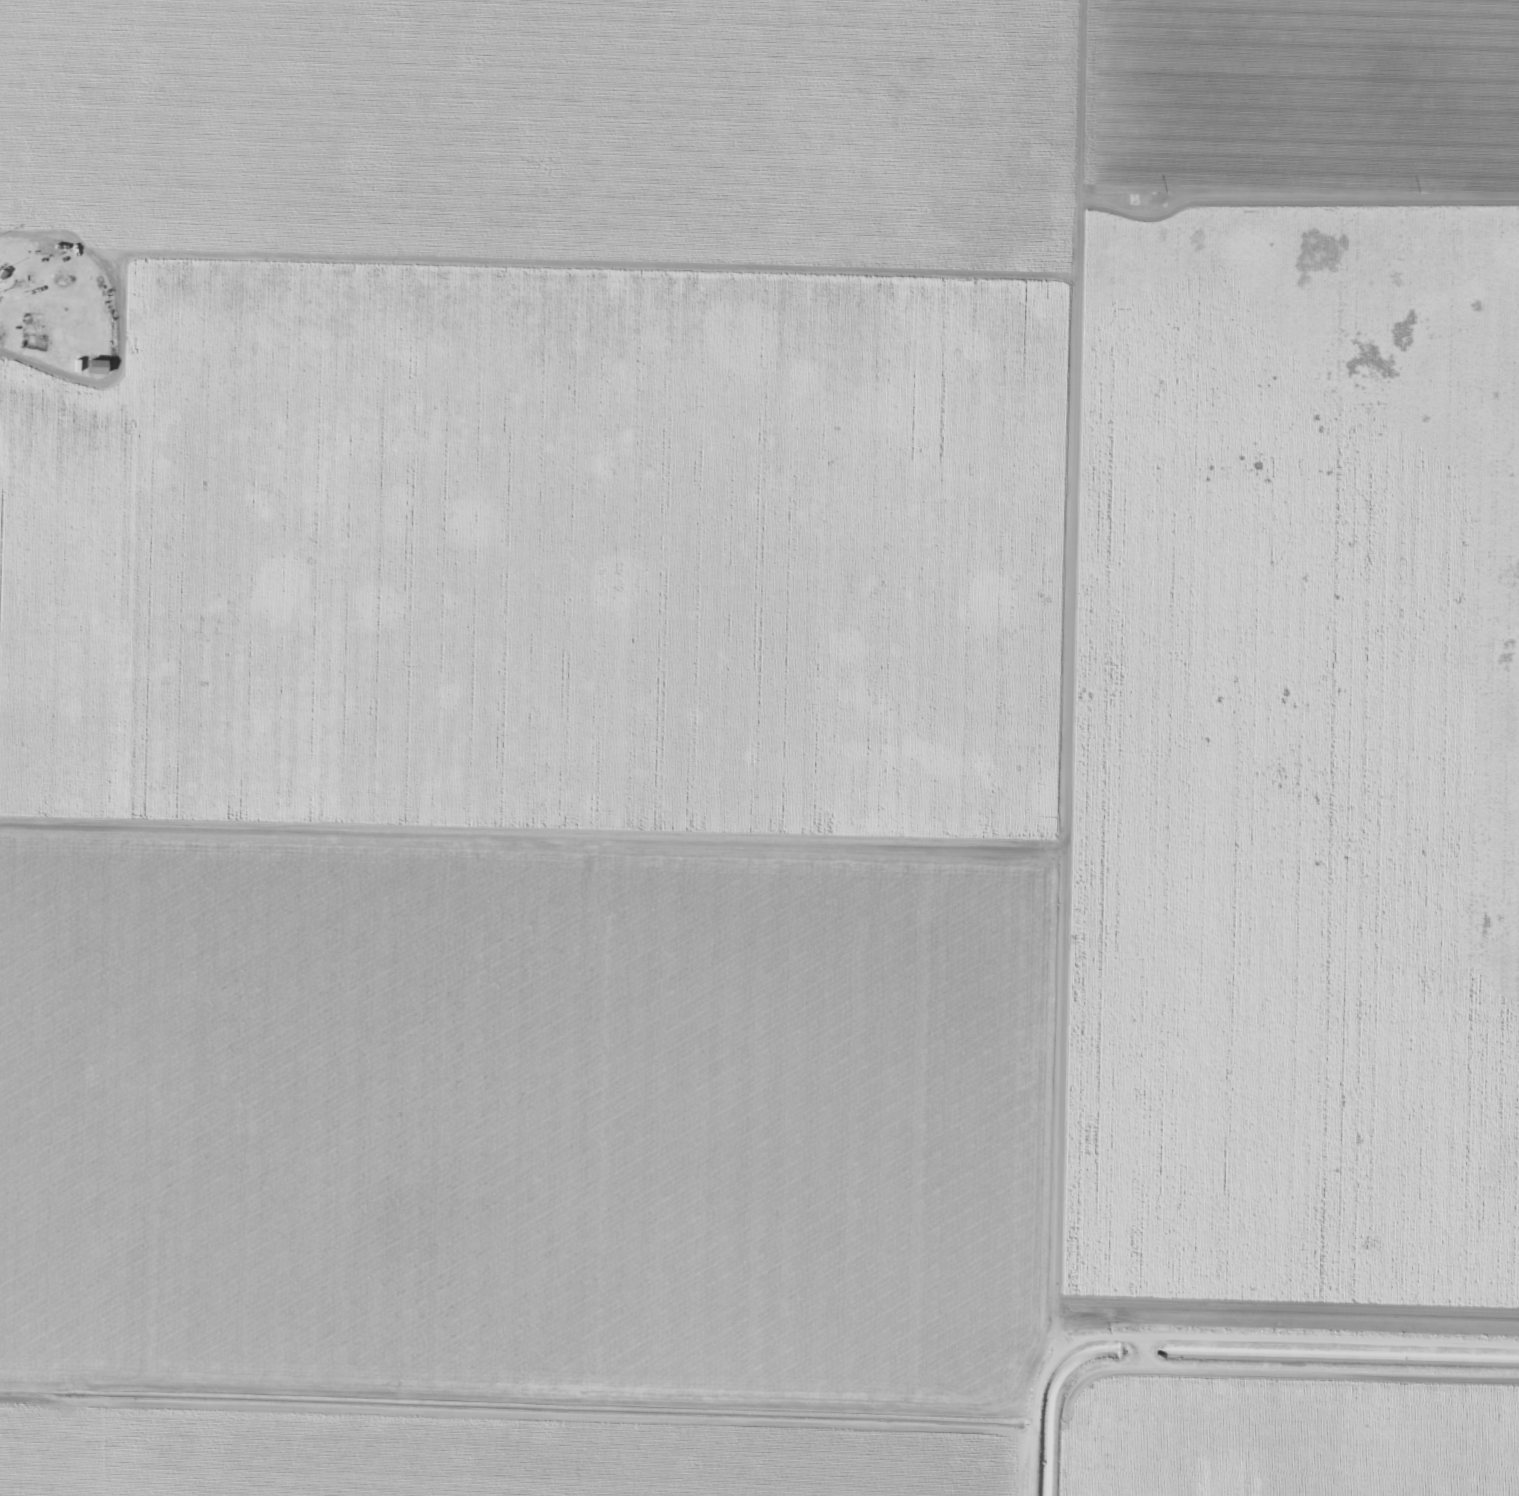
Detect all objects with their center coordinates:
building: (36, 322)
building: (98, 367)

